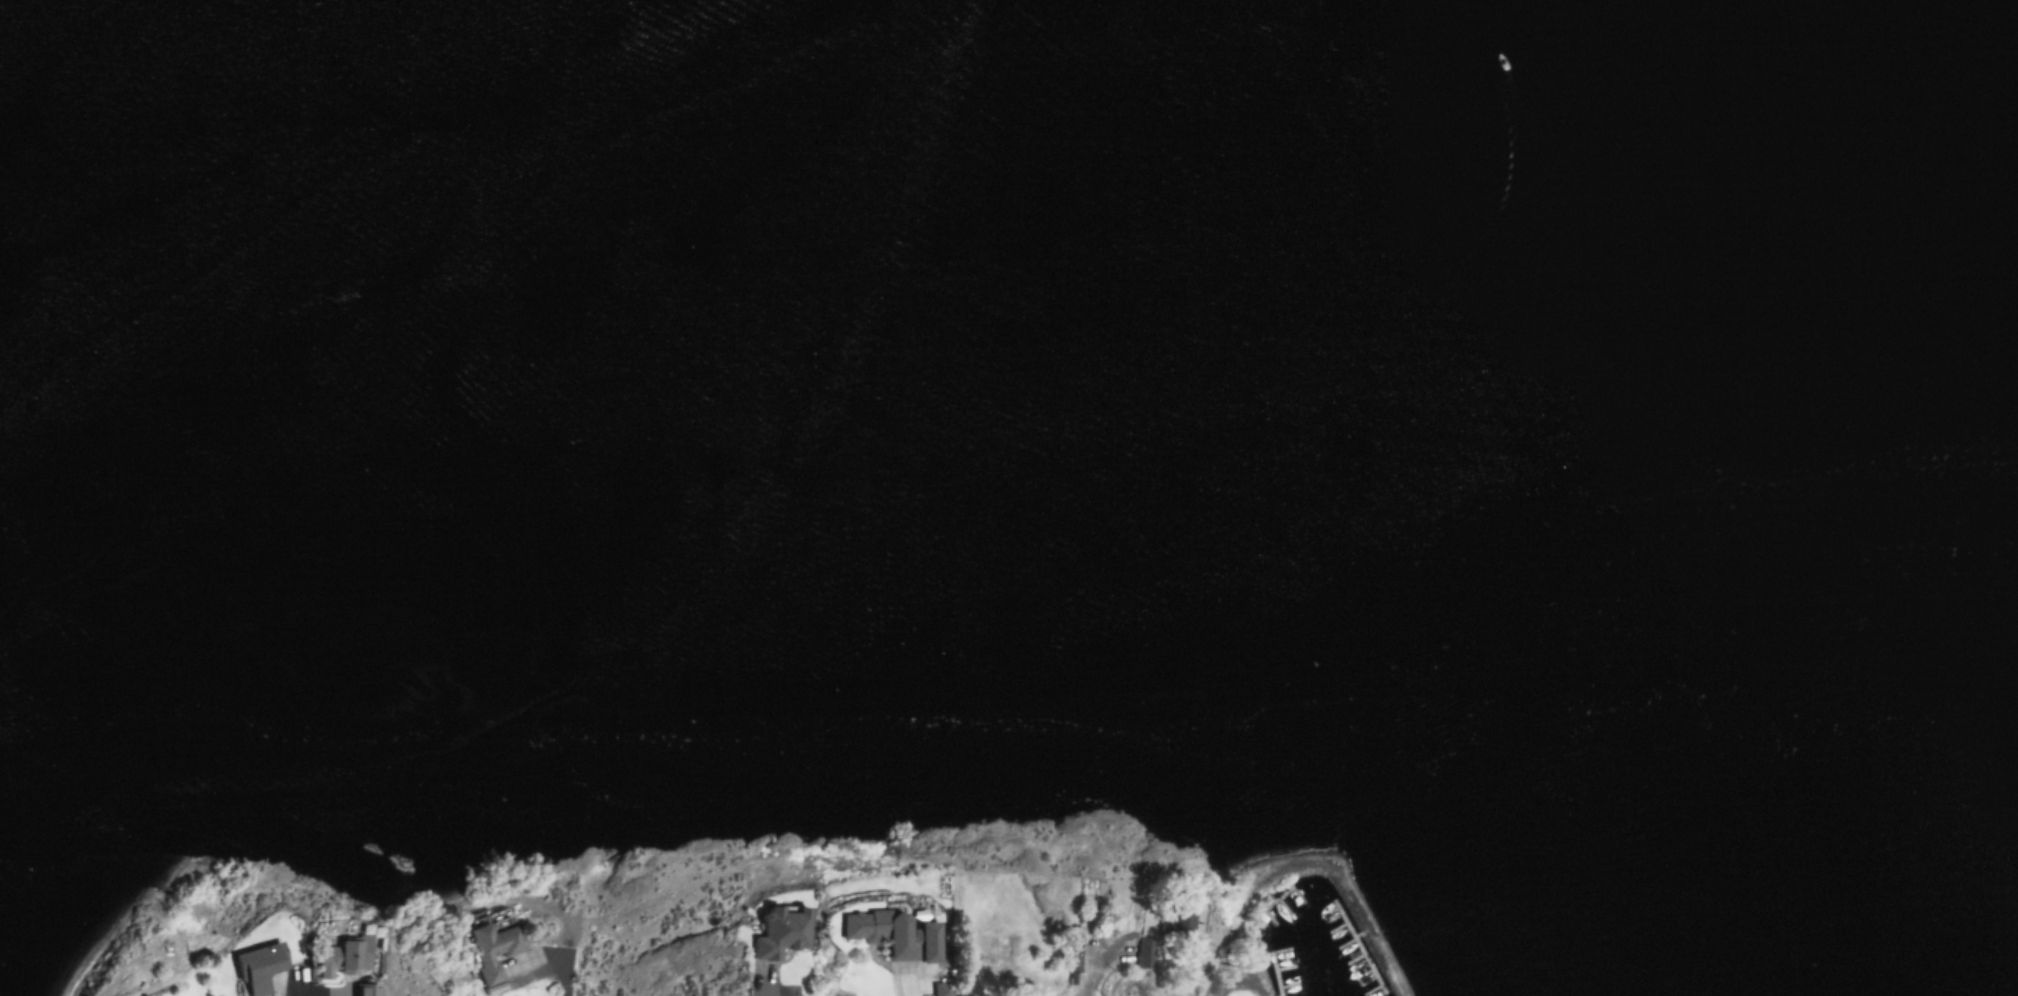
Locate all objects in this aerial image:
park: (643, 848)
building: (780, 934)
building: (892, 936)
building: (1164, 936)
building: (493, 951)
building: (1074, 955)
building: (341, 960)
building: (257, 968)
road: (564, 981)
building: (364, 991)

